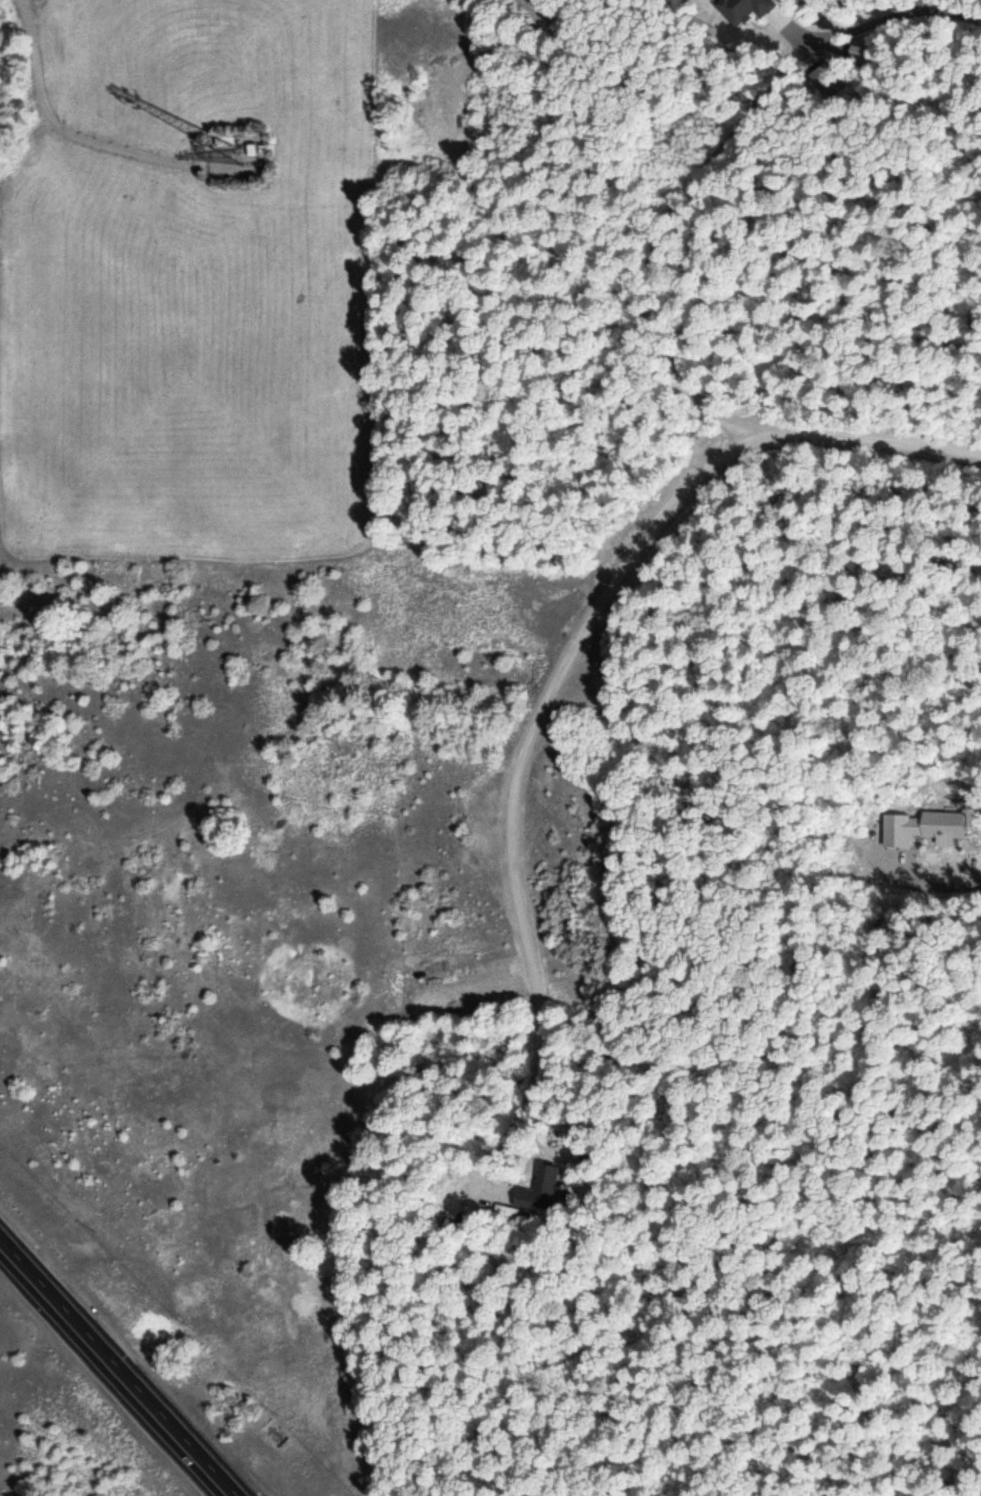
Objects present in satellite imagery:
building: (742, 8)
building: (859, 51)
building: (538, 1187)
road: (114, 1368)

